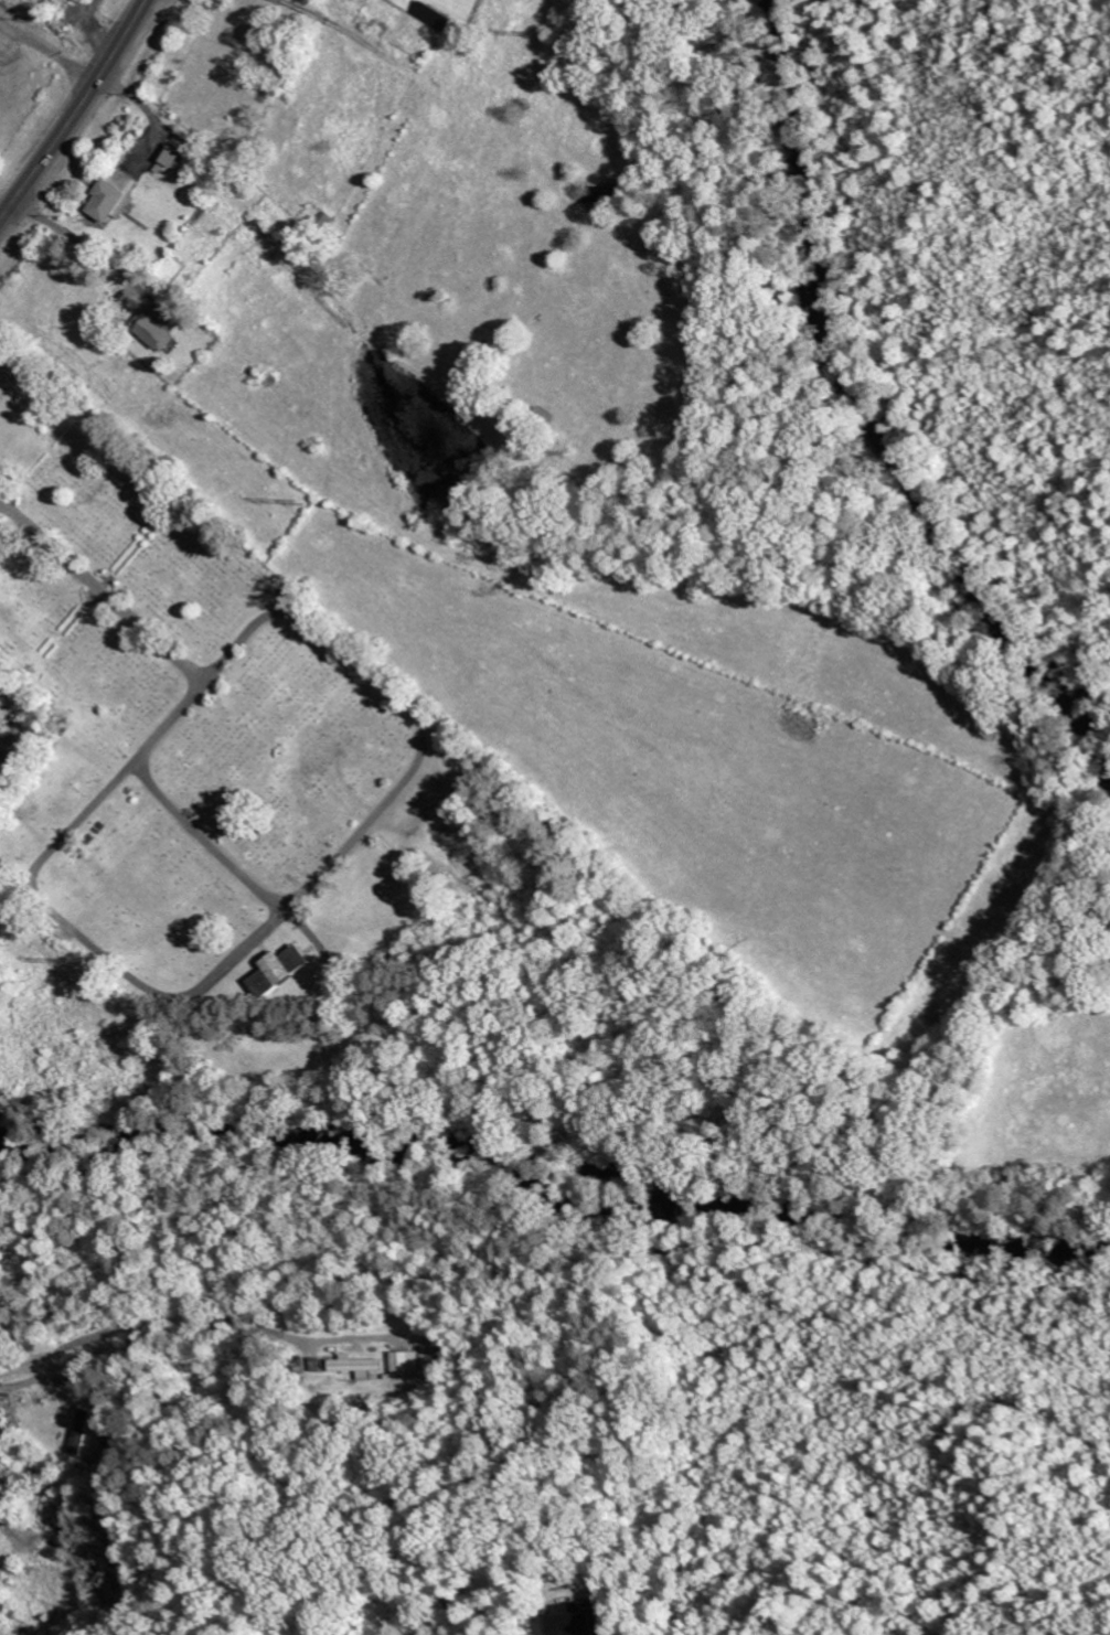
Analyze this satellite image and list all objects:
building: (435, 17)
road: (76, 111)
building: (172, 157)
building: (108, 202)
building: (156, 329)
river: (887, 426)
road: (102, 585)
park: (202, 737)
road: (353, 835)
building: (282, 970)
river: (556, 1164)
road: (128, 1325)
building: (406, 1361)
building: (427, 1362)
building: (357, 1366)
building: (82, 1438)
building: (51, 1508)
building: (53, 1550)
building: (580, 1620)
road: (1064, 1629)

